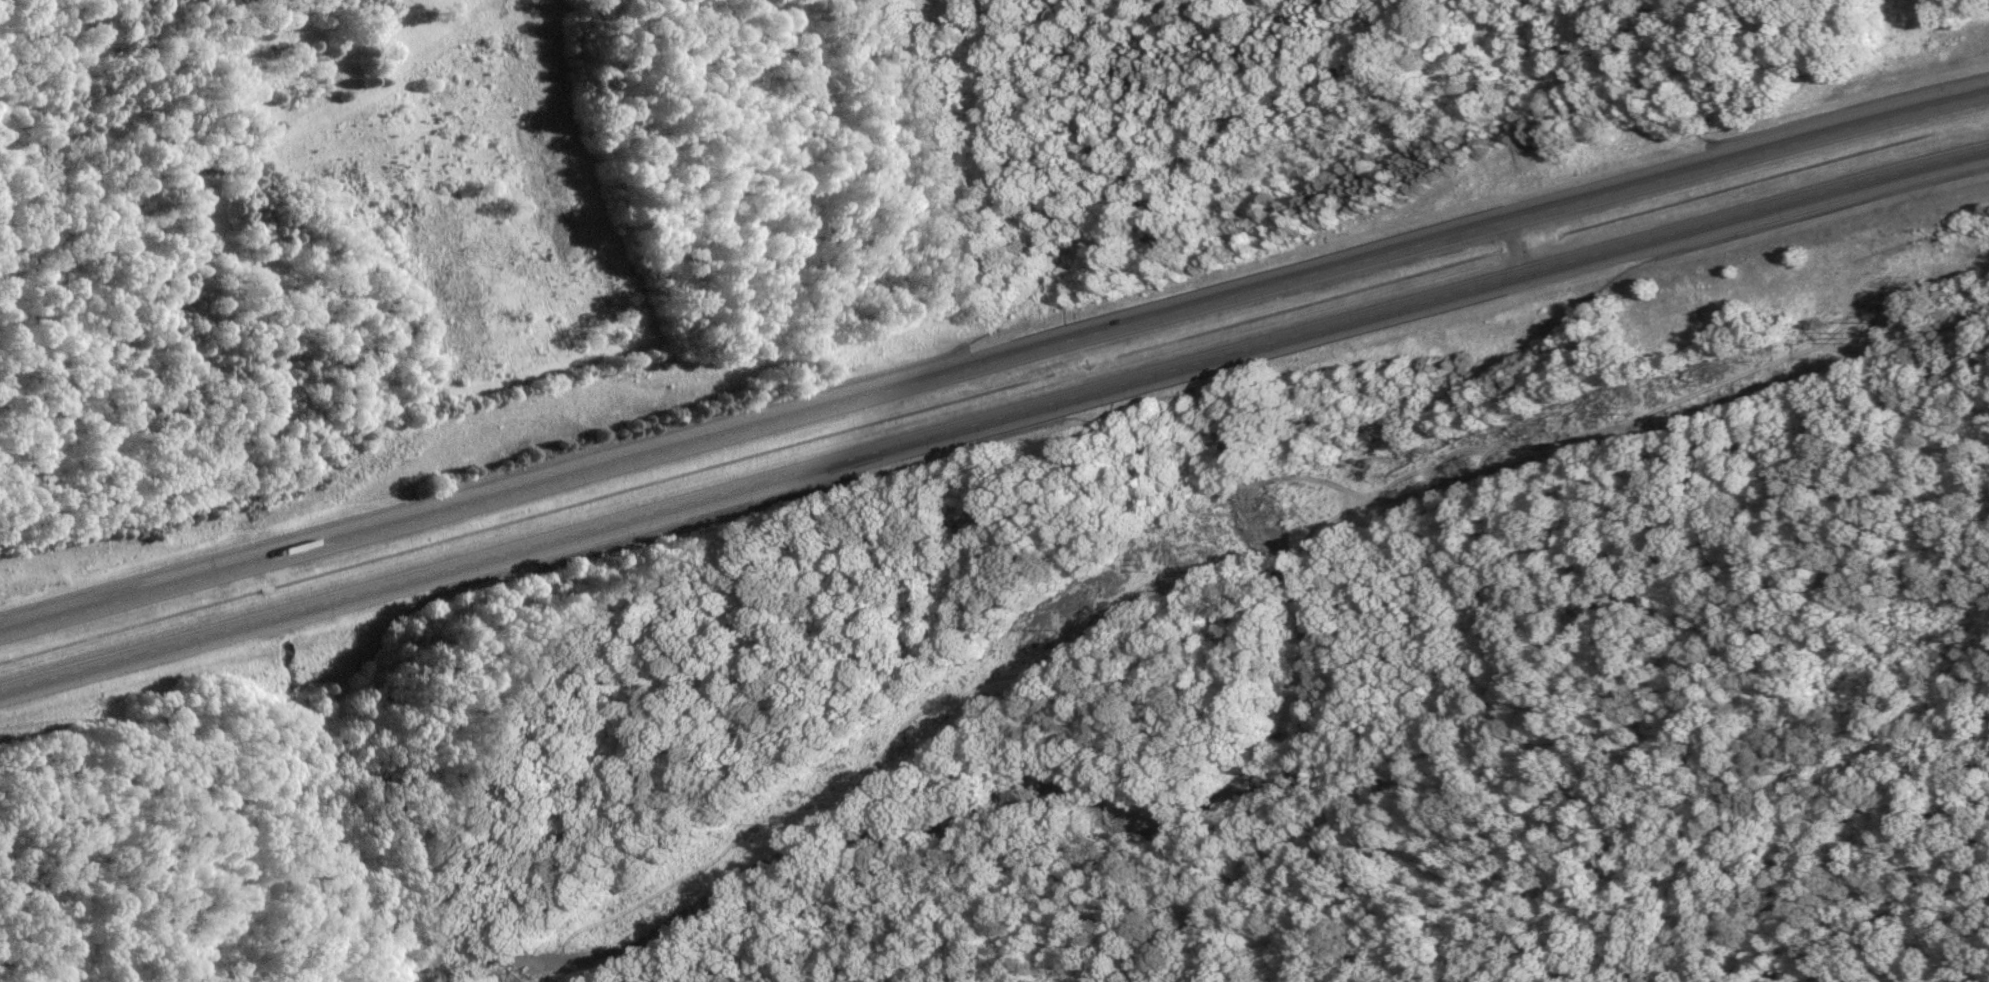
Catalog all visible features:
road: (993, 360)
road: (993, 418)
road: (1386, 761)

